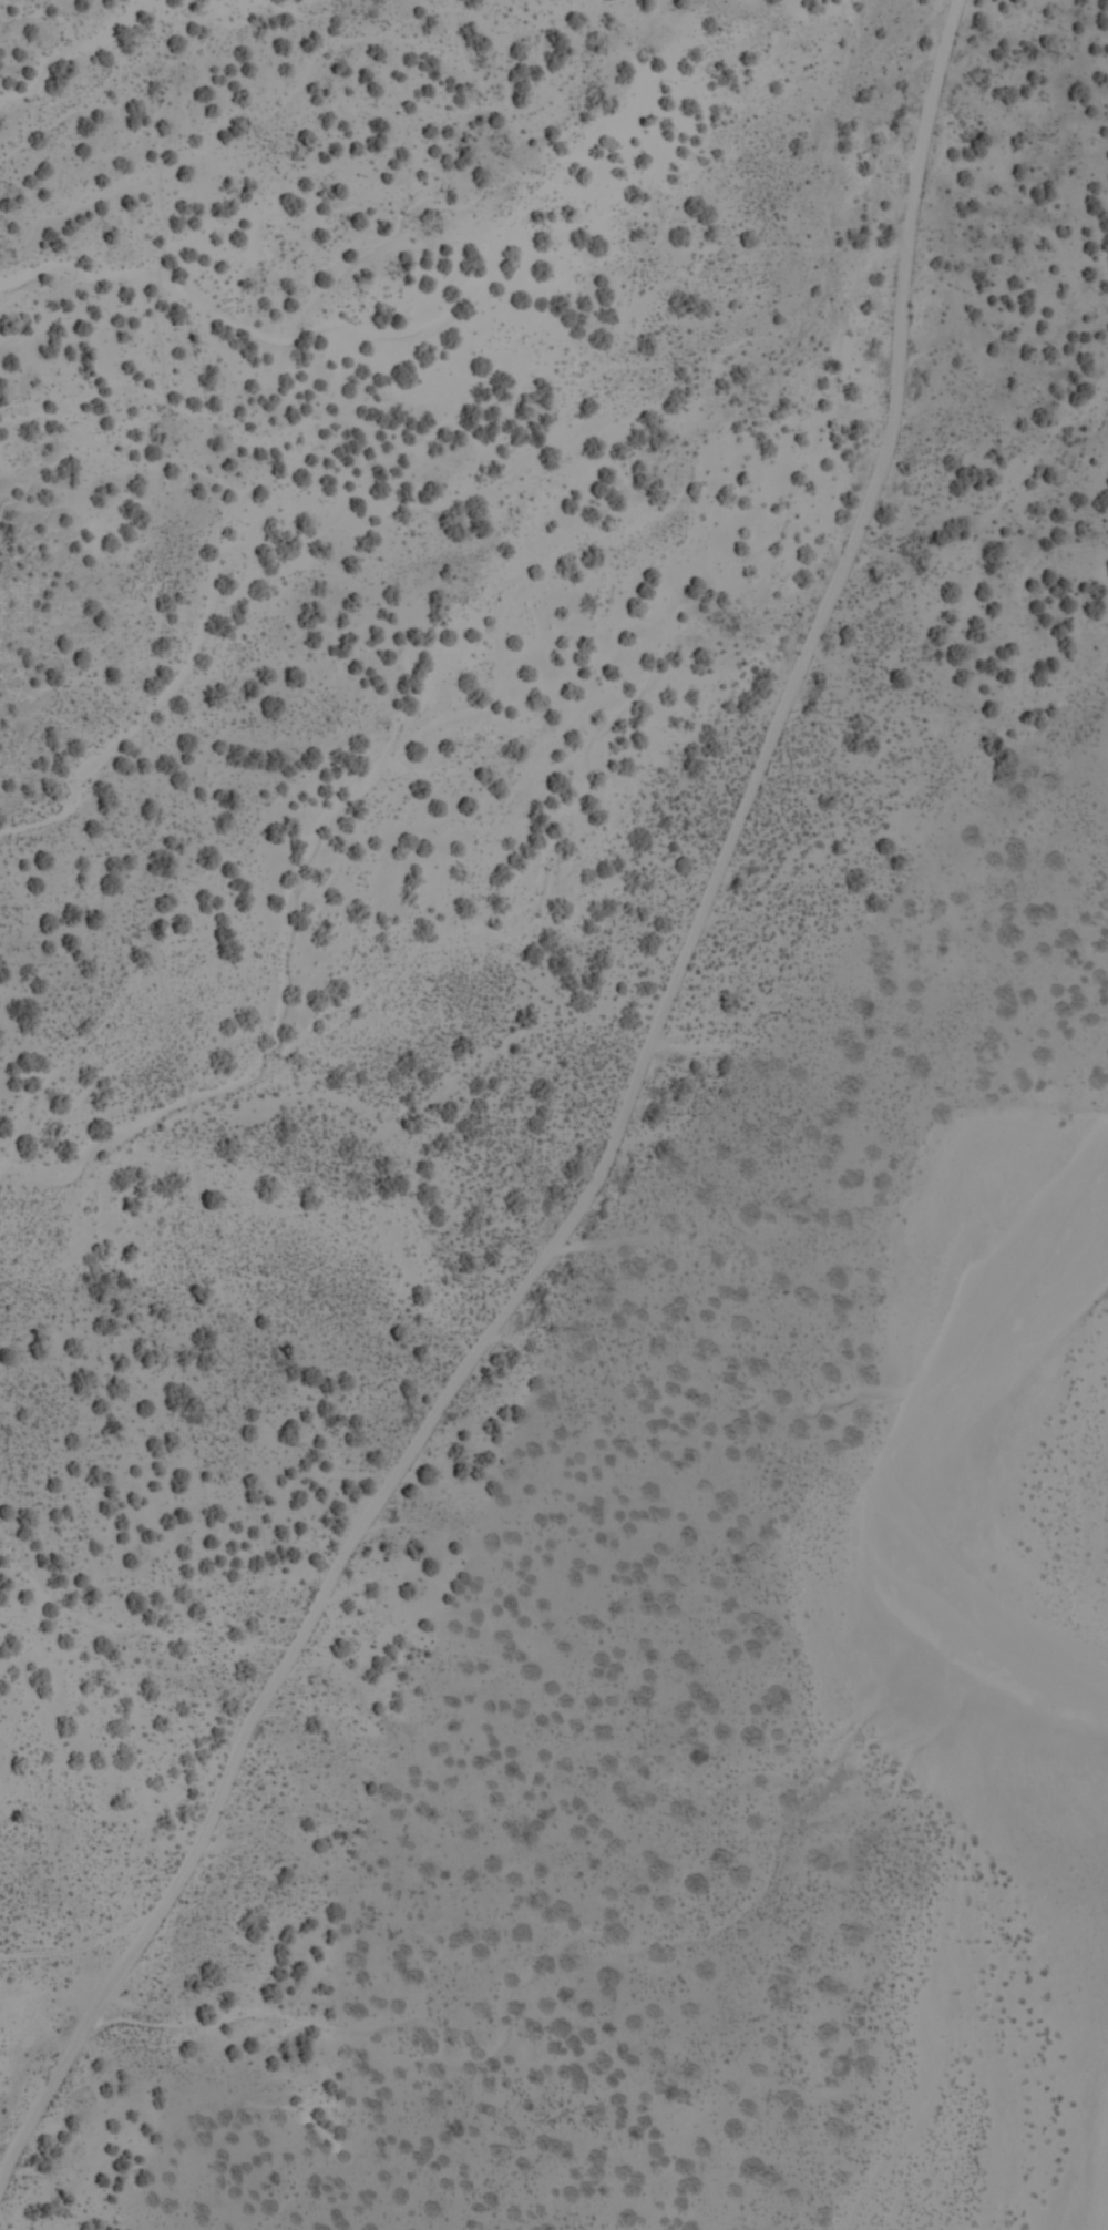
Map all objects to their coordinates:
road: (48, 1067)

